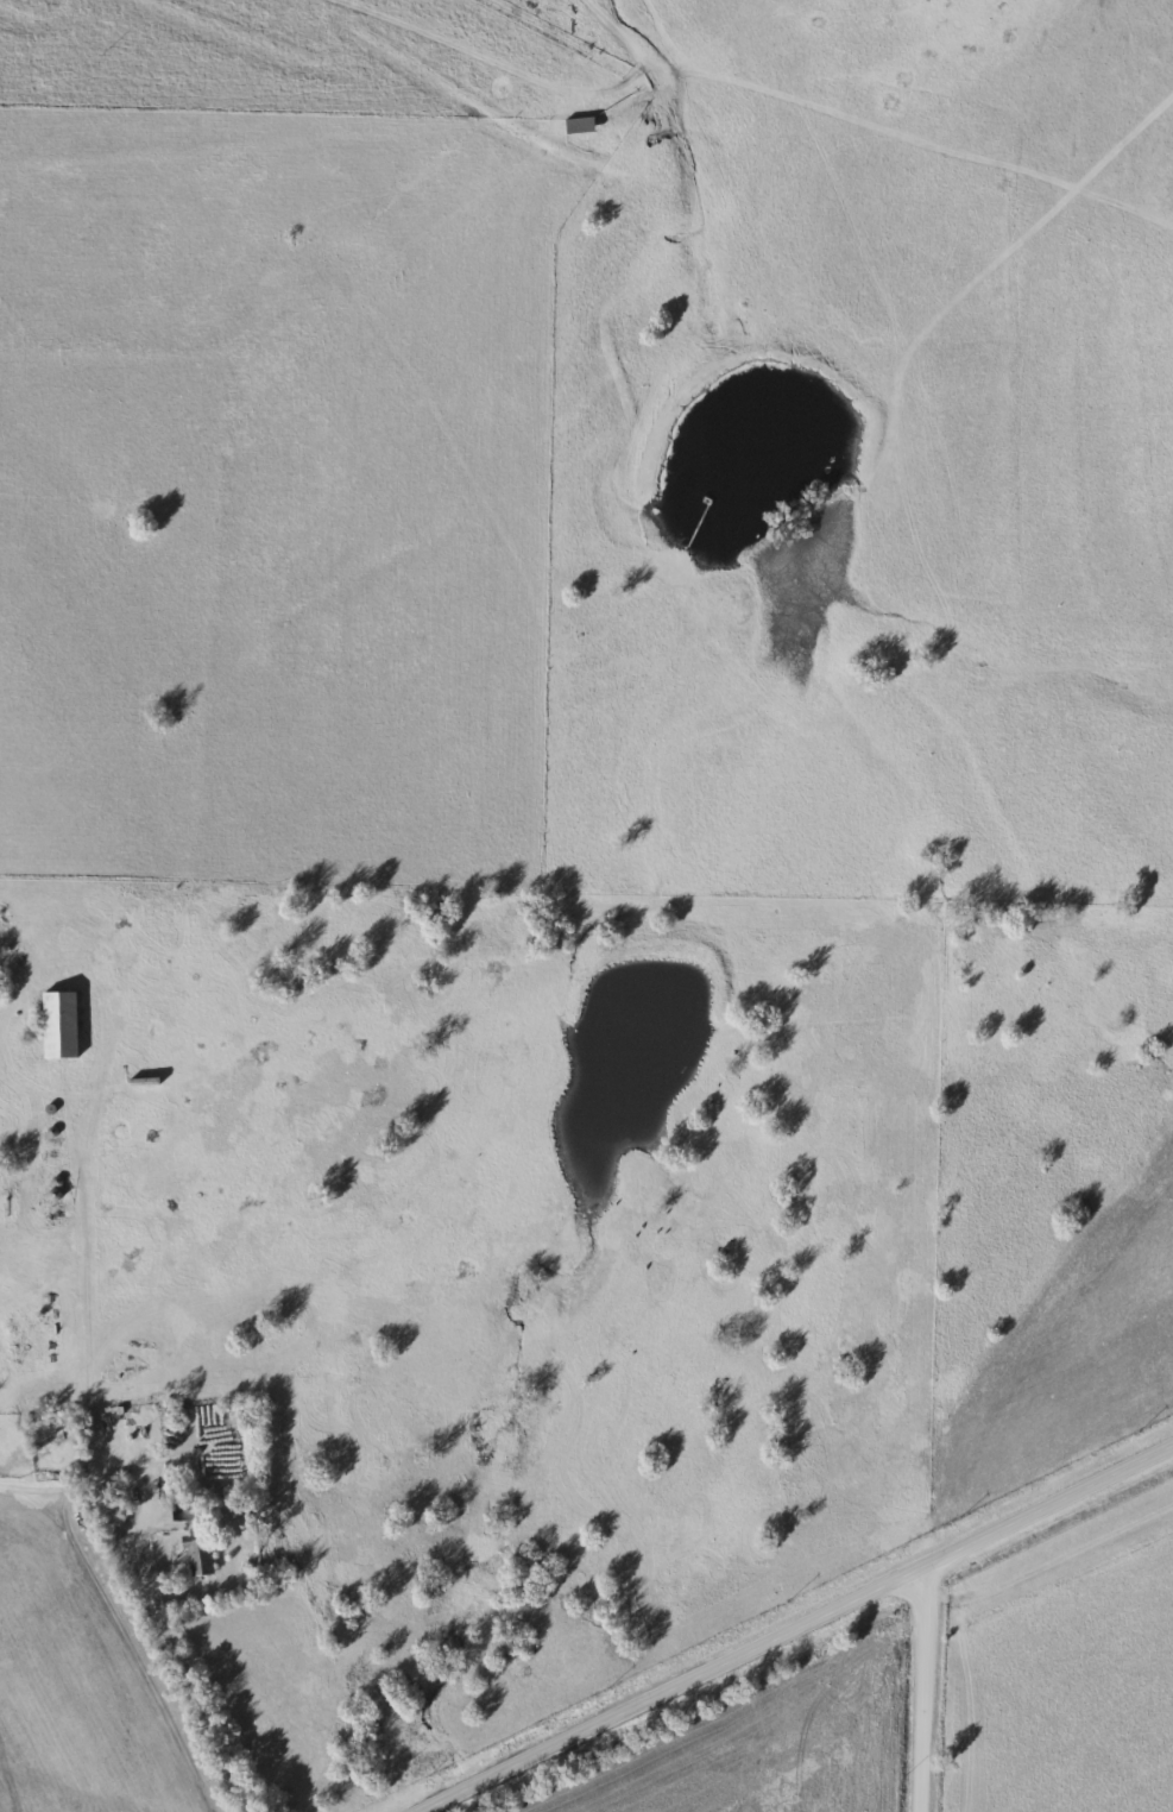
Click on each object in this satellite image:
building: (581, 127)
building: (62, 1026)
road: (114, 1453)
building: (182, 1515)
building: (198, 1556)
road: (797, 1628)
road: (189, 1676)
road: (921, 1691)

